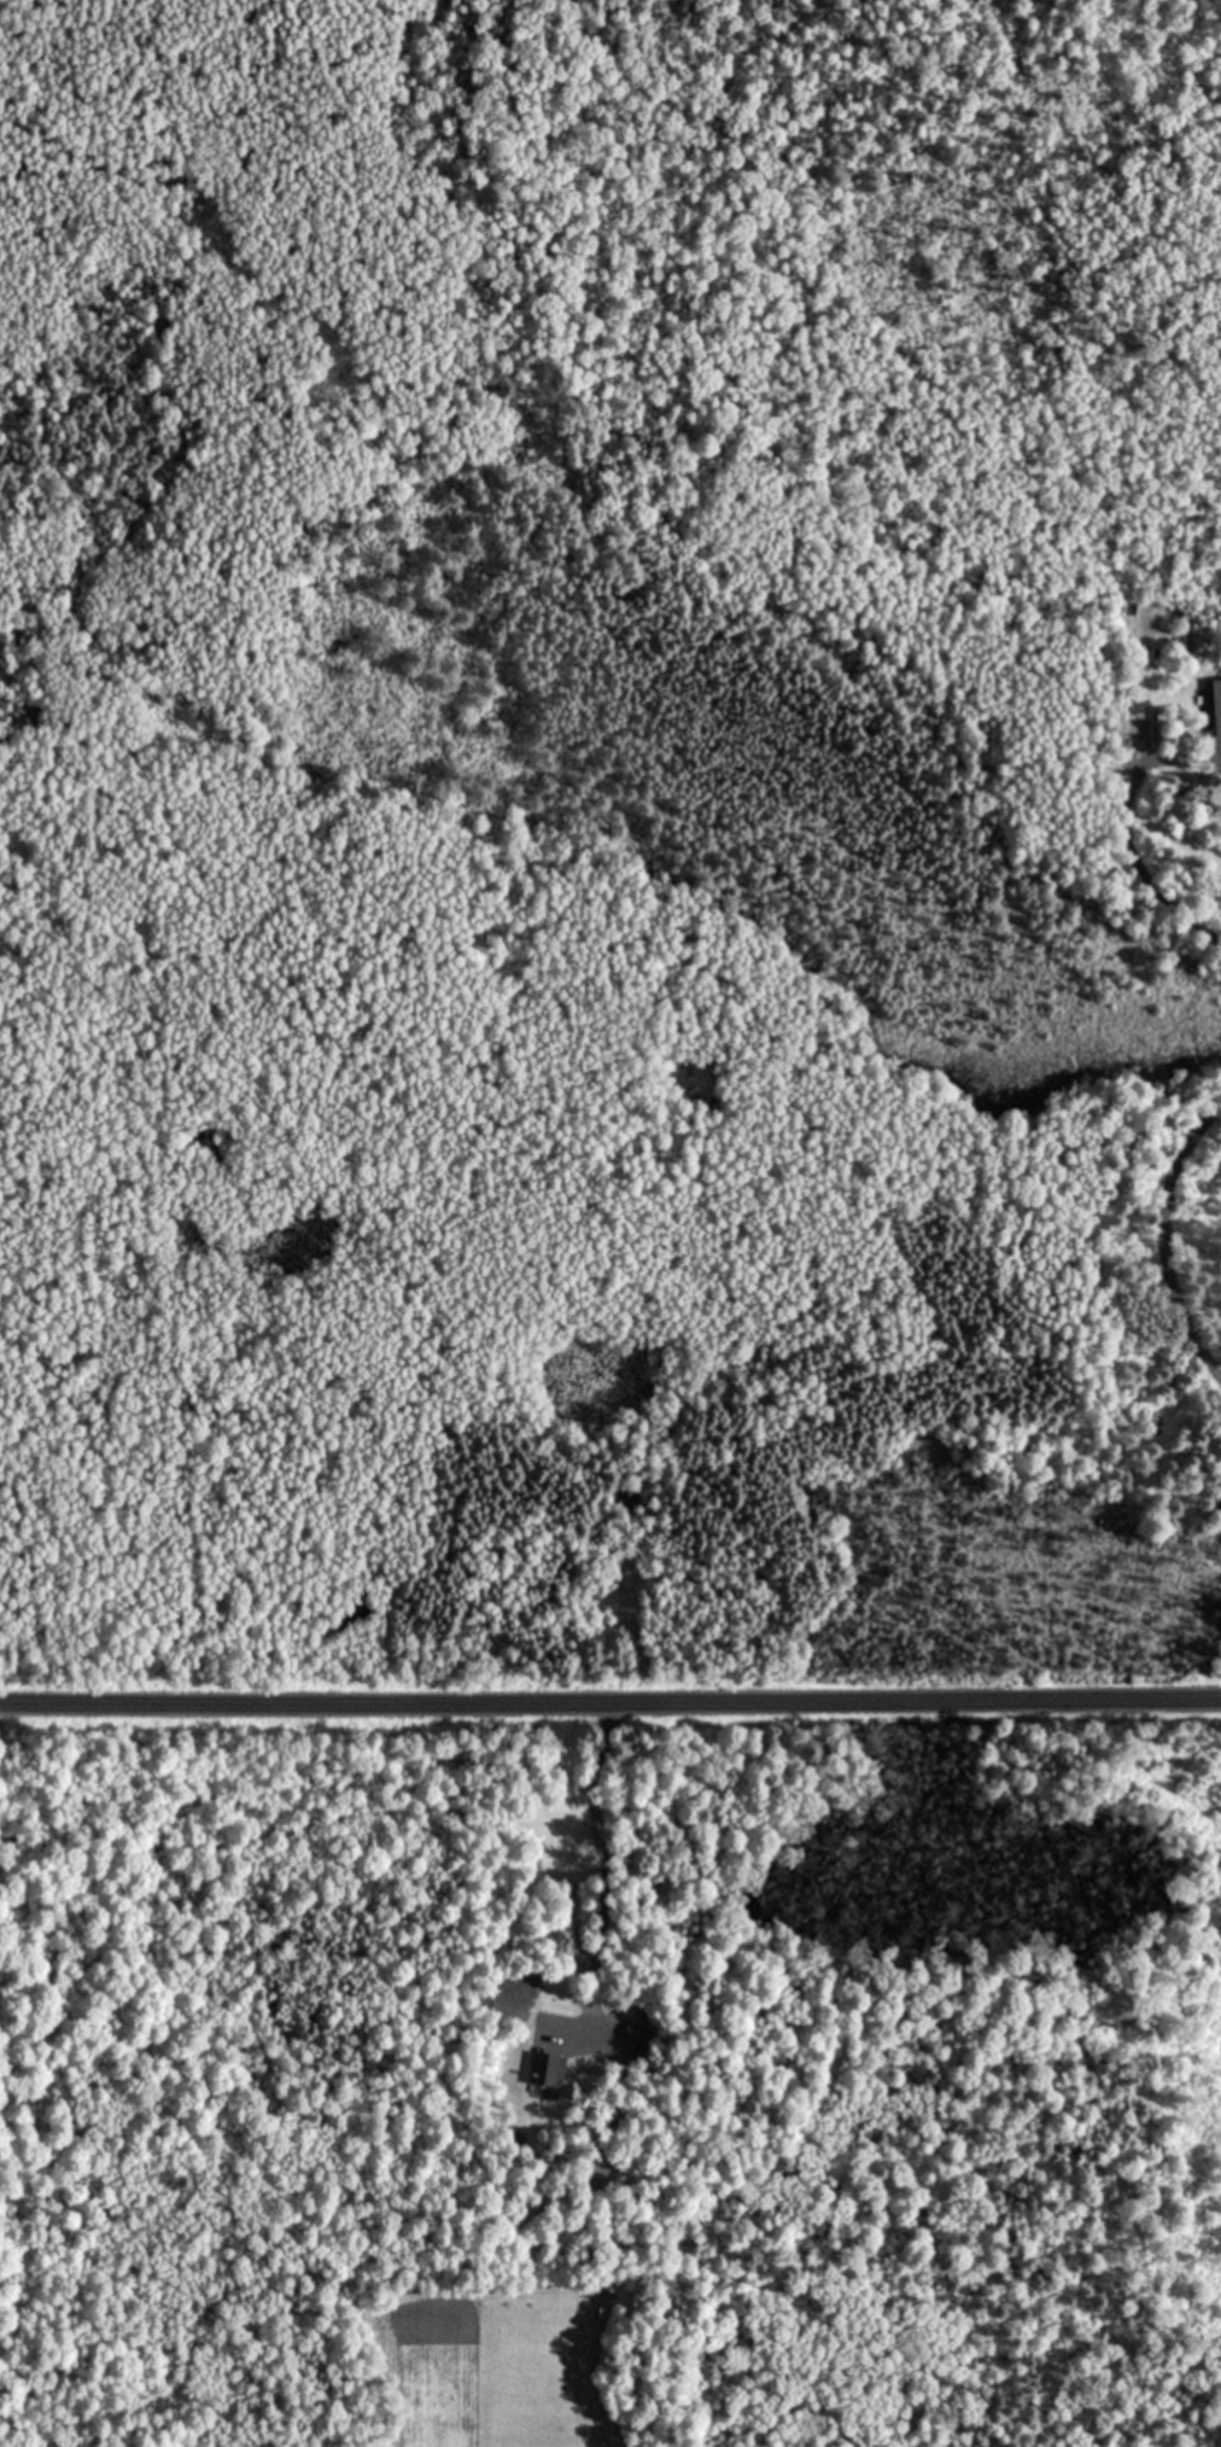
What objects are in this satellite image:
building: (1216, 704)
road: (1162, 1252)
road: (610, 1703)
road: (594, 1854)
building: (633, 2029)

